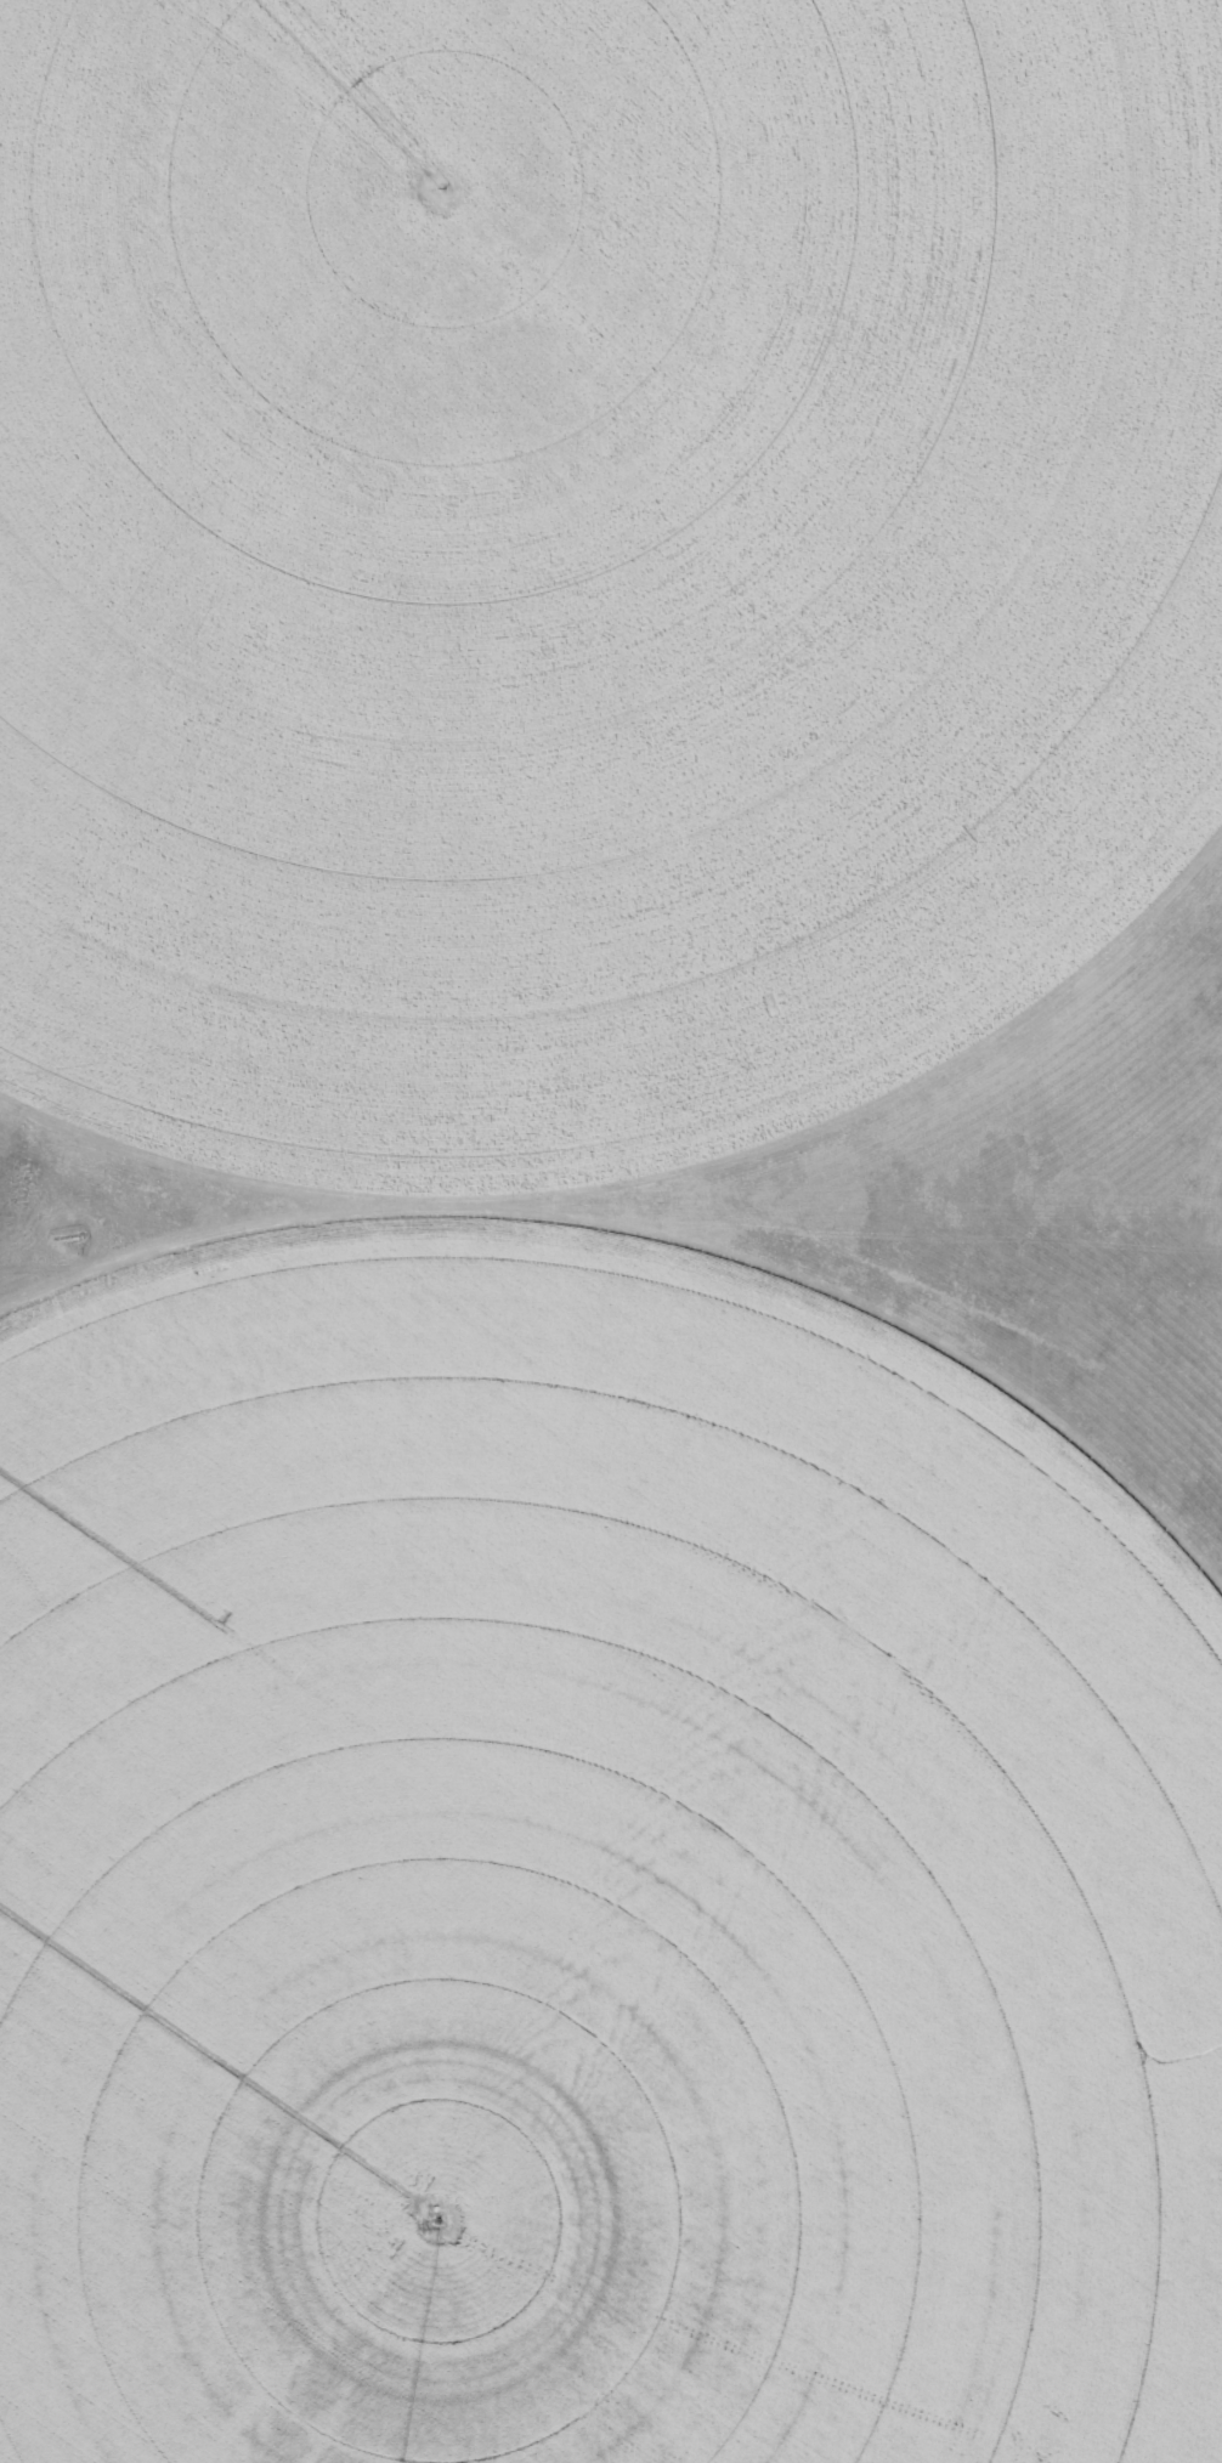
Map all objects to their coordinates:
road: (611, 1312)

